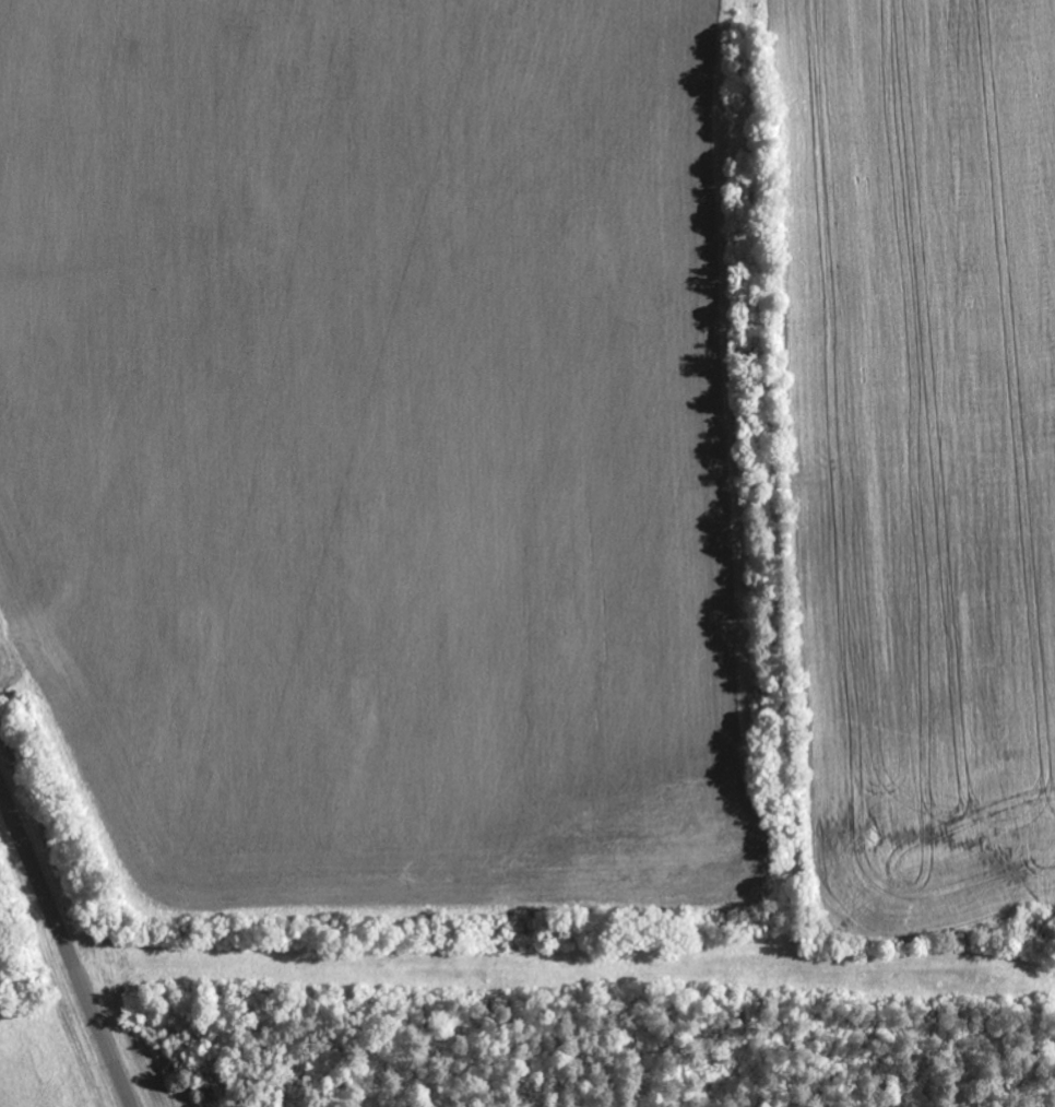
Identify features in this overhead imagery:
road: (67, 946)

